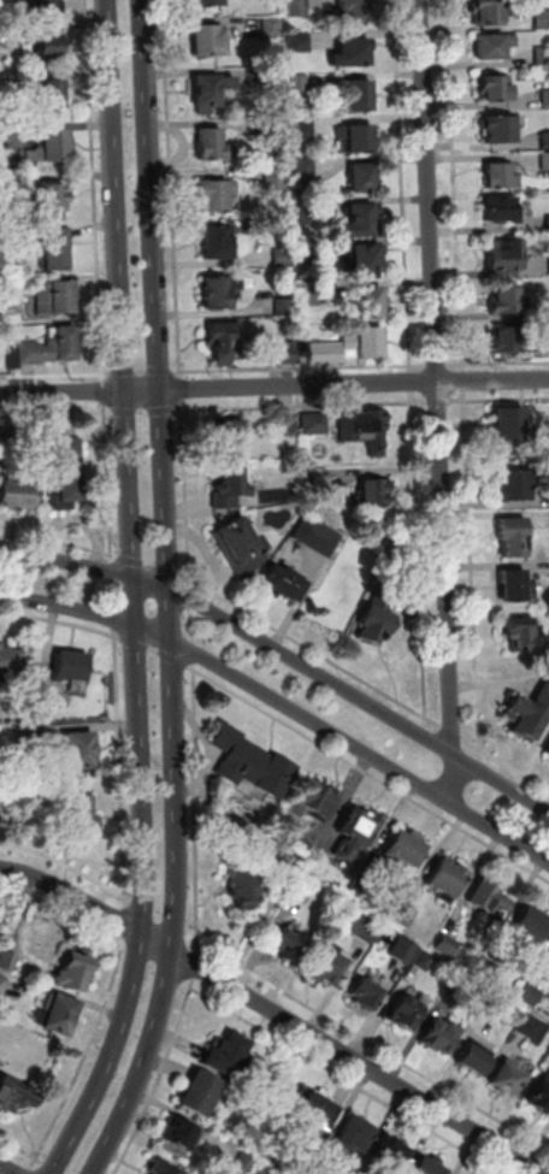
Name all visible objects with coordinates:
building: (208, 2)
building: (46, 7)
building: (300, 7)
building: (355, 11)
building: (491, 11)
building: (543, 19)
building: (273, 28)
building: (209, 41)
building: (301, 42)
building: (51, 45)
building: (495, 46)
building: (353, 53)
building: (543, 55)
building: (278, 76)
building: (300, 83)
building: (497, 88)
building: (207, 93)
building: (53, 95)
building: (360, 96)
building: (547, 99)
building: (278, 126)
building: (307, 129)
building: (501, 129)
building: (358, 138)
building: (547, 141)
building: (216, 146)
building: (54, 147)
building: (545, 160)
building: (307, 170)
building: (501, 177)
building: (365, 178)
building: (277, 179)
road: (98, 189)
building: (0, 190)
building: (218, 195)
building: (53, 200)
building: (501, 208)
building: (308, 213)
building: (362, 220)
road: (460, 223)
building: (219, 243)
building: (57, 248)
building: (311, 253)
building: (506, 255)
building: (284, 258)
building: (365, 258)
building: (222, 291)
building: (313, 295)
building: (57, 299)
building: (506, 302)
building: (365, 303)
building: (285, 307)
building: (512, 336)
building: (223, 341)
building: (367, 342)
building: (51, 348)
building: (290, 353)
building: (327, 354)
building: (14, 355)
road: (460, 365)
road: (419, 366)
road: (439, 366)
road: (295, 368)
road: (147, 372)
road: (183, 374)
road: (55, 376)
road: (466, 380)
road: (414, 382)
road: (183, 388)
road: (274, 388)
road: (106, 393)
road: (498, 399)
road: (439, 400)
road: (417, 401)
road: (441, 401)
road: (110, 408)
road: (184, 408)
road: (143, 412)
building: (311, 421)
building: (6, 426)
building: (510, 427)
building: (366, 431)
building: (228, 437)
building: (70, 450)
building: (70, 482)
building: (55, 485)
building: (232, 486)
building: (516, 488)
building: (17, 495)
building: (372, 495)
road: (107, 533)
building: (318, 537)
building: (513, 539)
building: (243, 545)
road: (112, 554)
road: (108, 556)
road: (149, 562)
road: (111, 570)
road: (187, 578)
building: (284, 584)
building: (513, 586)
road: (112, 594)
road: (169, 594)
road: (138, 596)
street lamp: (39, 606)
road: (476, 608)
street lamp: (179, 617)
road: (116, 618)
building: (378, 618)
road: (193, 621)
road: (112, 631)
building: (523, 635)
road: (116, 636)
road: (135, 642)
road: (153, 650)
road: (285, 654)
road: (175, 659)
building: (10, 661)
building: (70, 667)
road: (425, 668)
road: (284, 703)
building: (42, 708)
building: (530, 716)
road: (436, 724)
road: (454, 733)
building: (25, 737)
road: (473, 745)
building: (547, 749)
building: (81, 753)
building: (548, 754)
building: (252, 763)
road: (370, 772)
road: (117, 778)
building: (319, 801)
building: (79, 816)
building: (358, 834)
building: (407, 851)
building: (301, 854)
building: (285, 877)
building: (448, 880)
building: (246, 887)
building: (305, 889)
building: (362, 889)
building: (489, 899)
road: (123, 904)
building: (406, 916)
road: (125, 924)
building: (361, 926)
building: (531, 926)
road: (123, 943)
building: (448, 945)
building: (291, 948)
building: (406, 950)
building: (548, 951)
building: (7, 957)
building: (426, 962)
building: (489, 968)
building: (72, 969)
building: (330, 969)
road: (255, 973)
building: (2, 983)
building: (460, 984)
building: (531, 995)
building: (367, 996)
building: (494, 1002)
road: (101, 1008)
building: (58, 1013)
building: (411, 1013)
road: (274, 1014)
building: (535, 1030)
building: (443, 1037)
building: (229, 1057)
road: (169, 1060)
building: (476, 1063)
road: (350, 1081)
building: (509, 1082)
building: (16, 1090)
building: (201, 1096)
building: (542, 1097)
building: (314, 1113)
building: (182, 1137)
building: (356, 1140)
building: (391, 1156)
road: (33, 1162)
building: (247, 1163)
building: (427, 1168)
road: (6, 1169)
building: (161, 1169)
building: (266, 1169)
road: (28, 1170)

